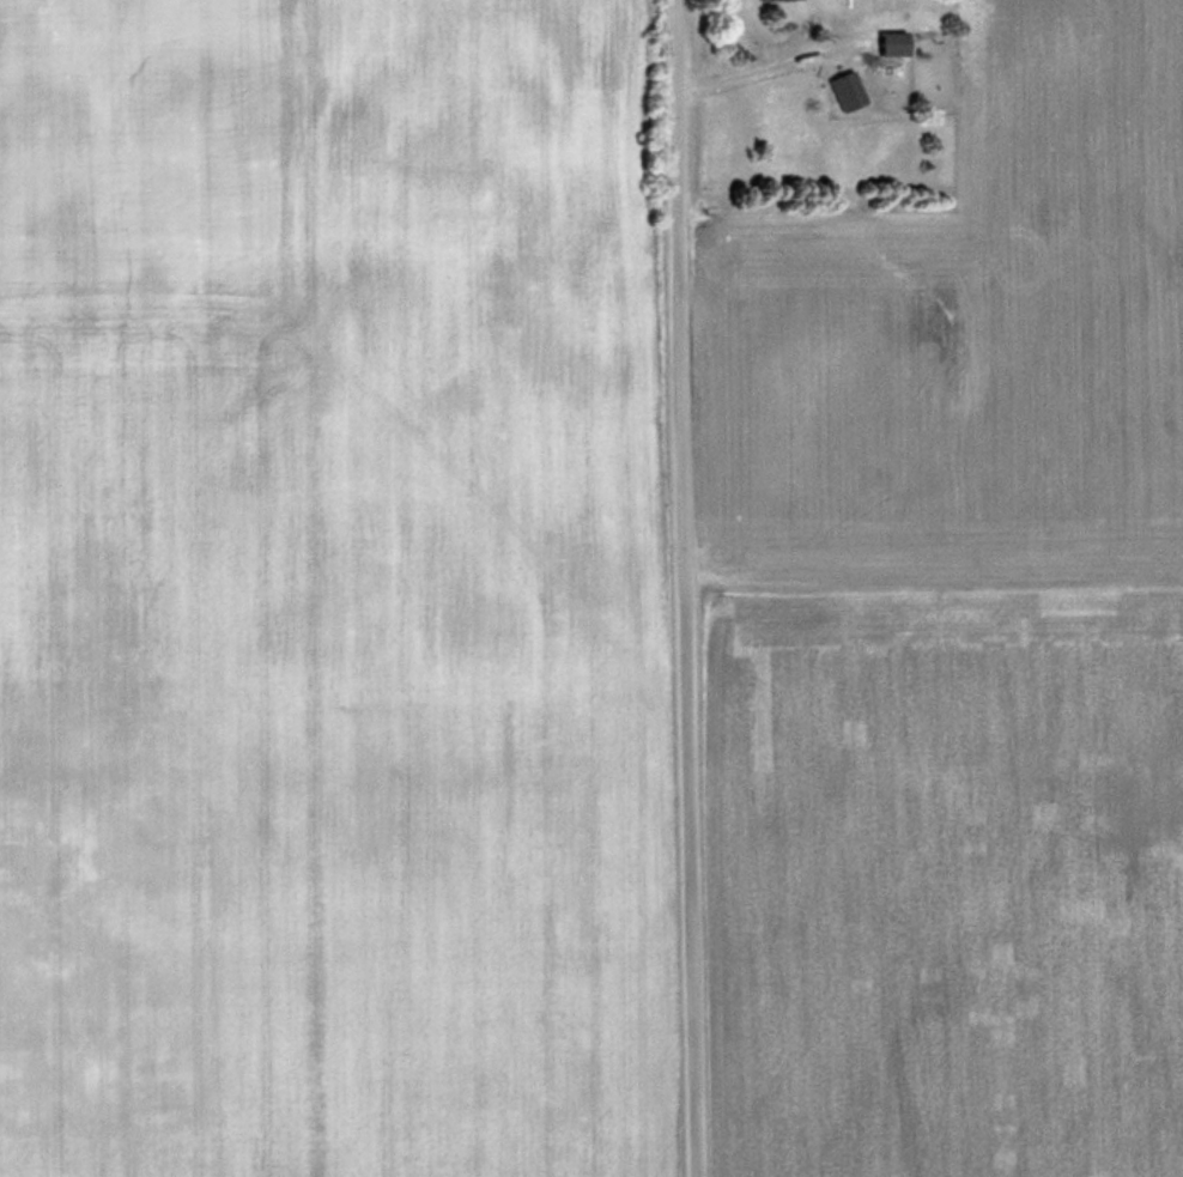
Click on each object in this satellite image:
building: (887, 41)
building: (839, 87)
road: (690, 588)

